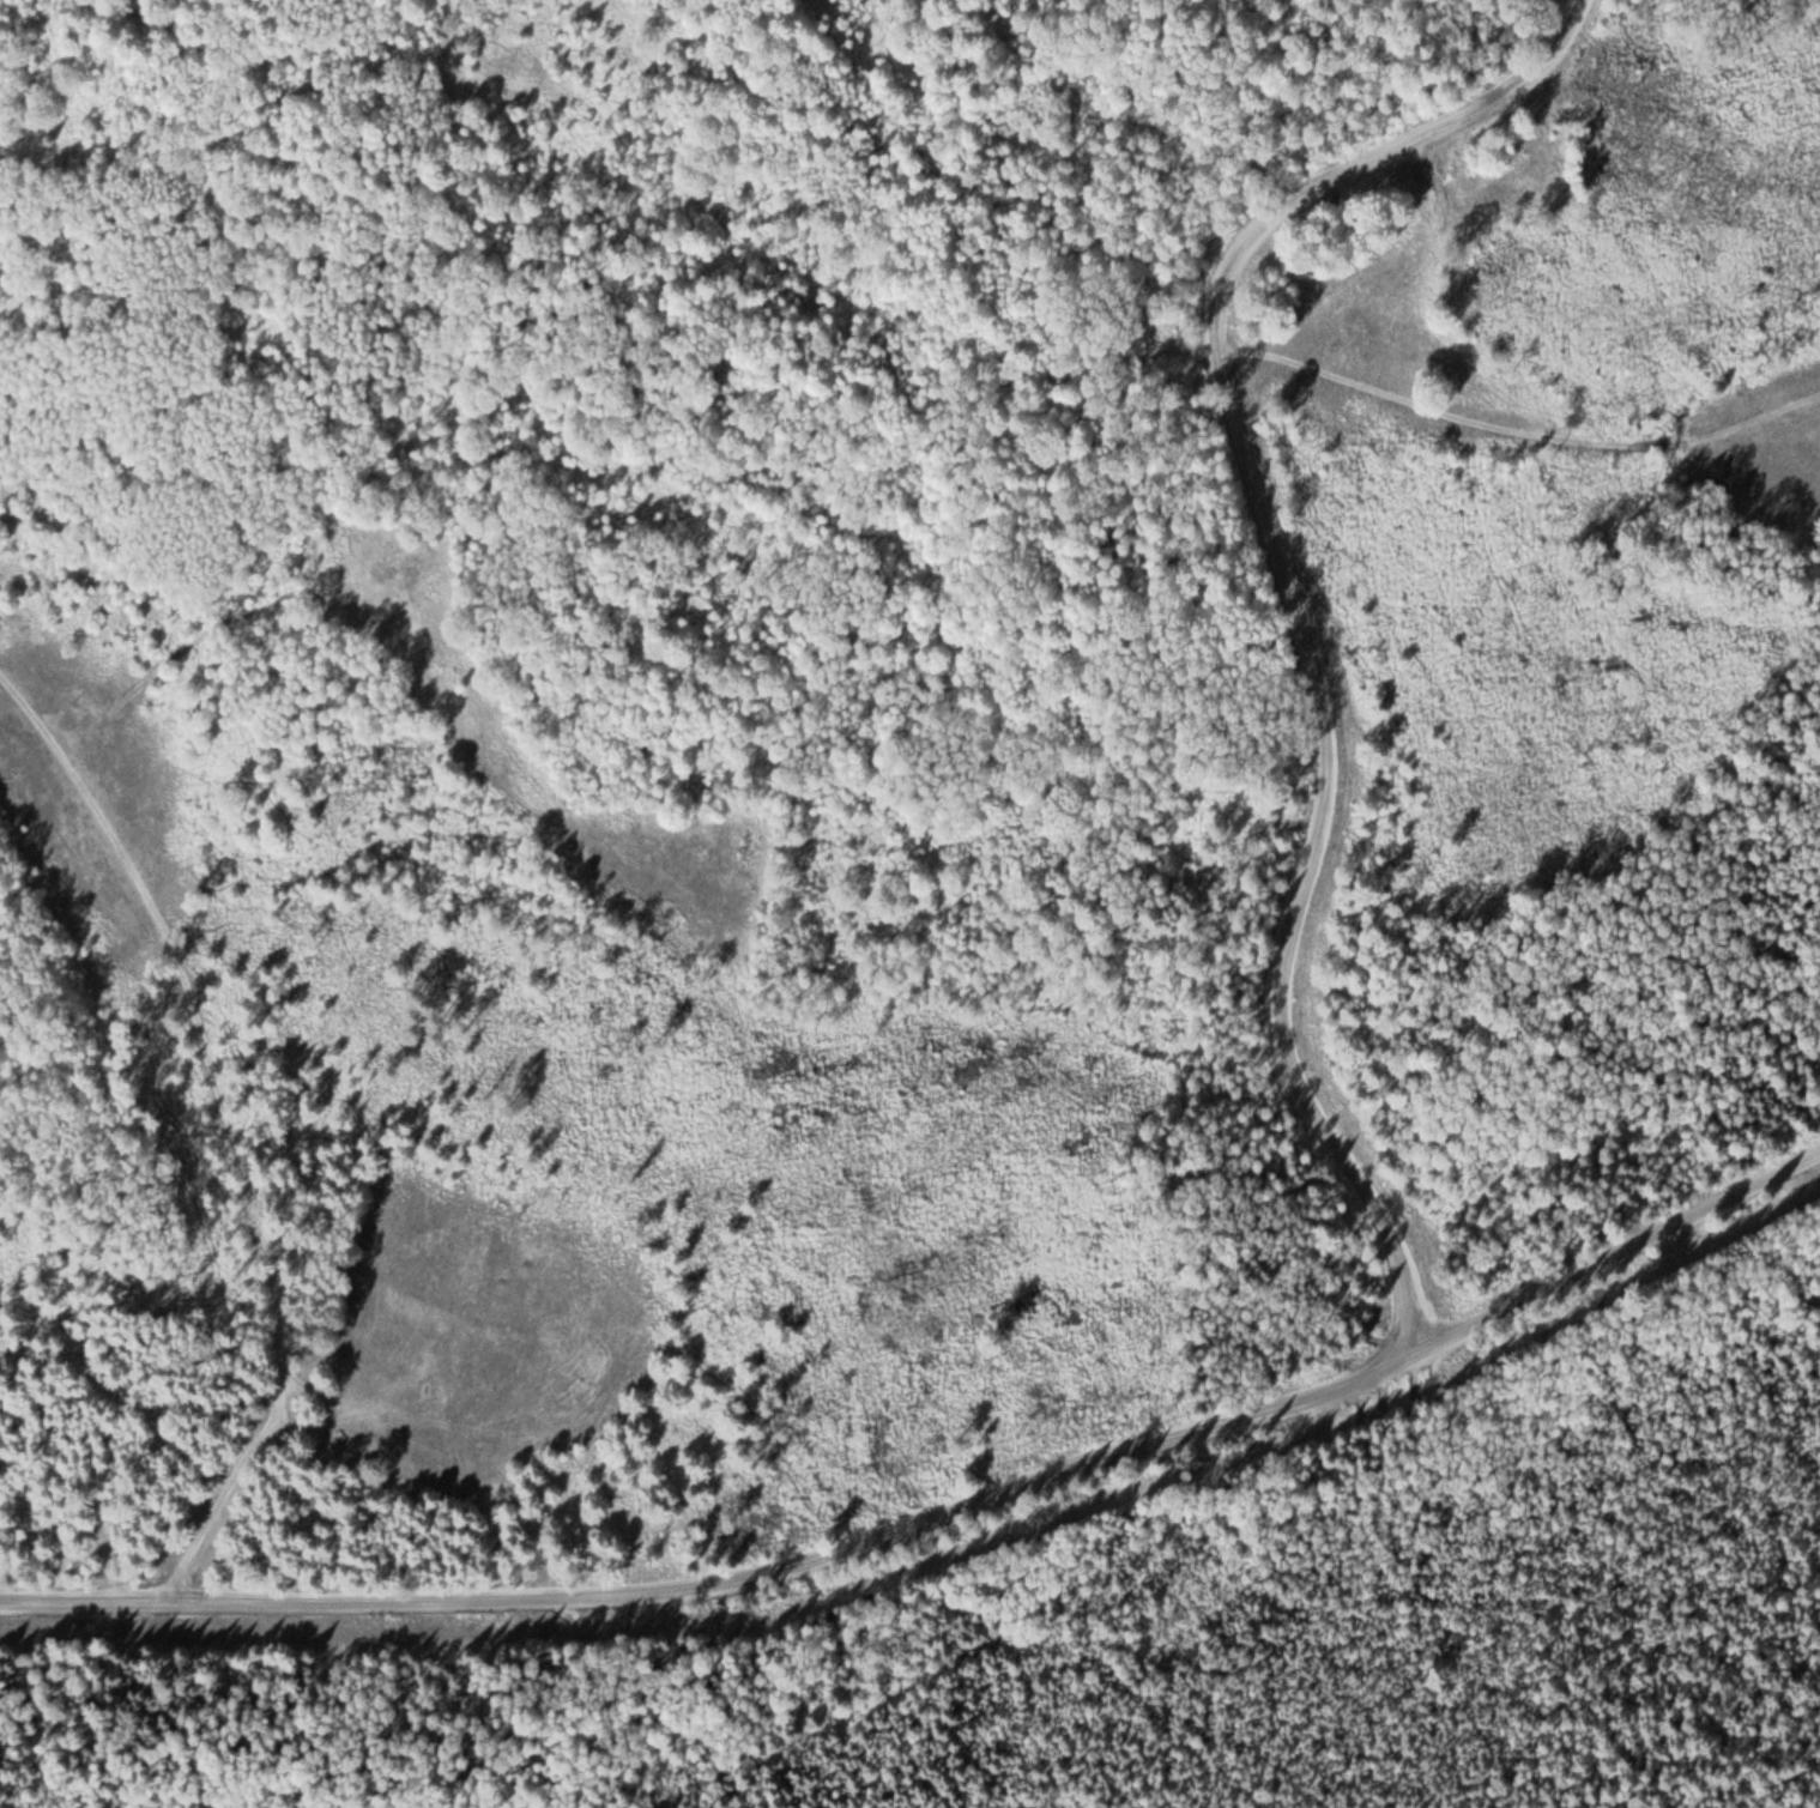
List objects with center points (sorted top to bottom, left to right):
road: (1284, 601)
road: (247, 1189)
road: (1618, 1253)
road: (727, 1583)

